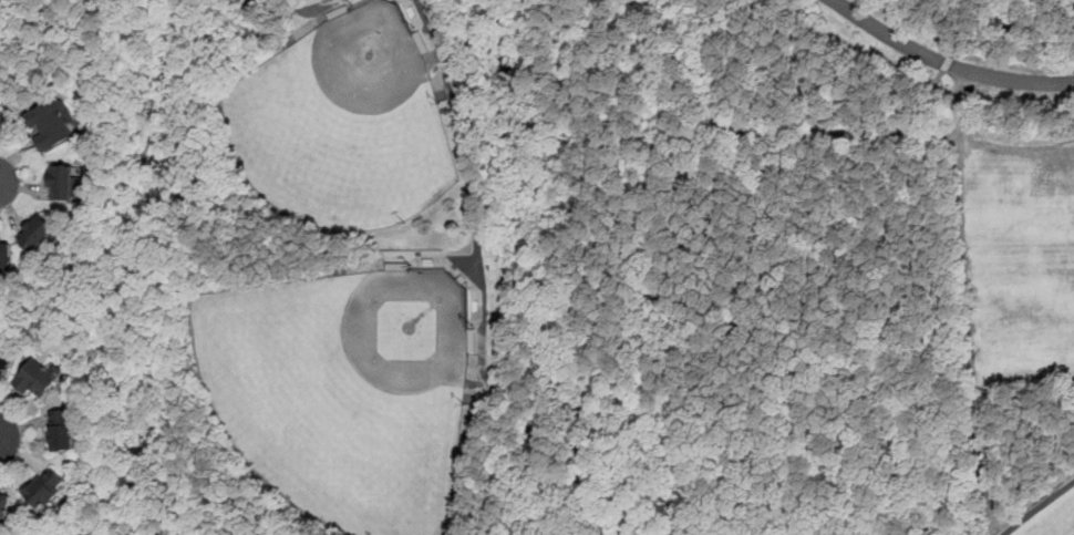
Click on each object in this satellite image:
road: (661, 3)
road: (285, 9)
road: (818, 30)
road: (705, 60)
road: (946, 64)
building: (0, 113)
building: (0, 116)
road: (709, 122)
building: (50, 124)
park: (347, 125)
road: (699, 162)
building: (61, 182)
road: (3, 184)
building: (34, 233)
building: (4, 254)
road: (434, 257)
building: (3, 268)
park: (616, 268)
road: (969, 272)
road: (481, 275)
building: (3, 367)
building: (37, 378)
park: (343, 392)
building: (60, 430)
building: (44, 487)
building: (4, 505)
road: (1036, 507)
road: (1073, 534)

